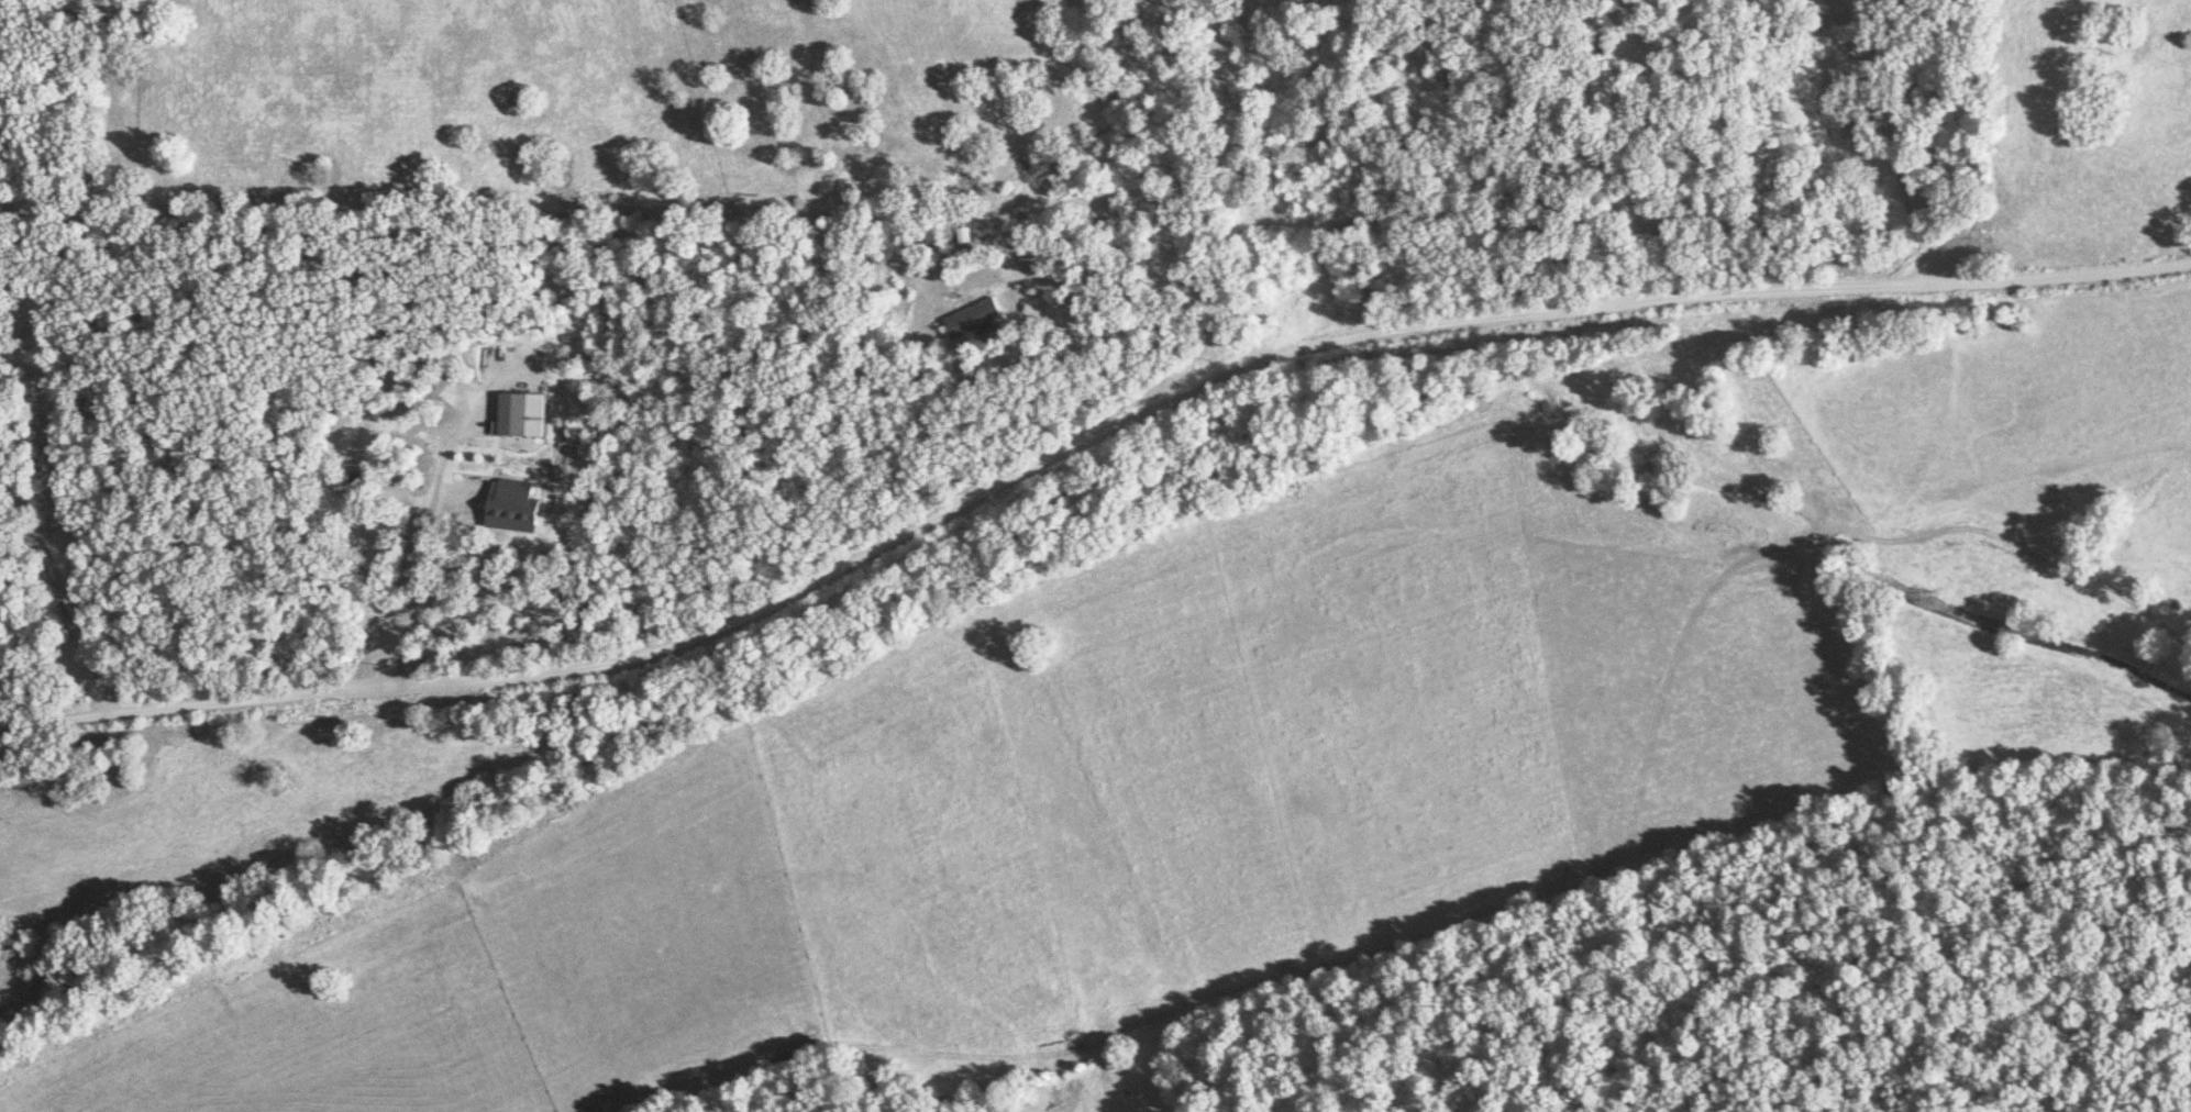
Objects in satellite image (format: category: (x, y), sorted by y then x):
road: (1882, 140)
road: (1128, 264)
road: (2061, 277)
building: (978, 319)
building: (519, 415)
road: (961, 491)
road: (425, 545)
road: (58, 593)

